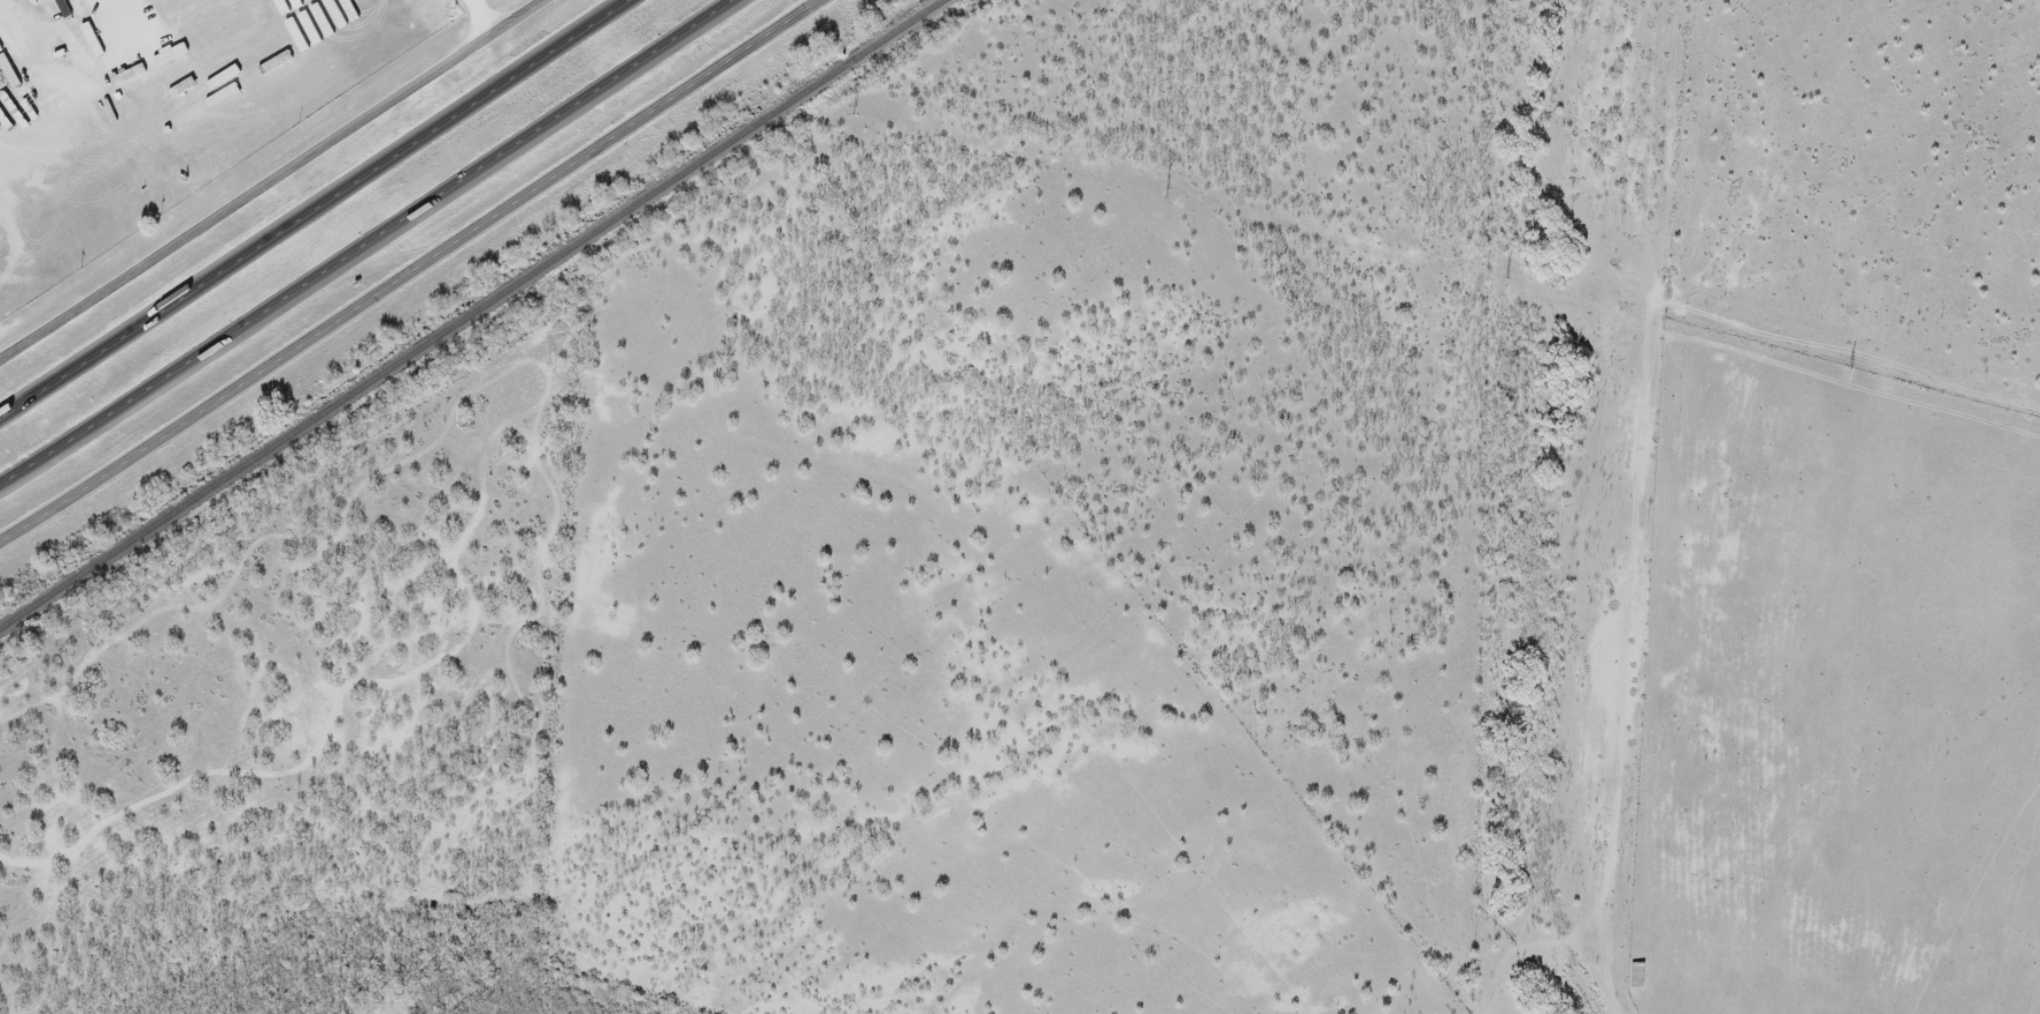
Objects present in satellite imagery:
power tower: (454, 10)
road: (480, 19)
power tower: (855, 108)
road: (273, 181)
power tower: (1167, 190)
road: (309, 209)
road: (370, 247)
road: (411, 271)
power tower: (1507, 279)
railway: (473, 315)
power tower: (1852, 370)
building: (1638, 973)

